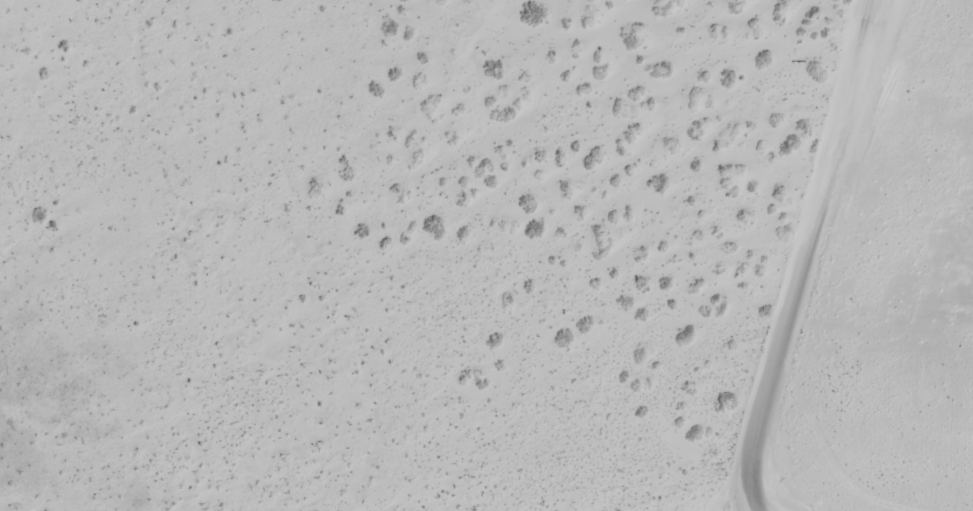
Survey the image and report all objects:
road: (803, 255)

